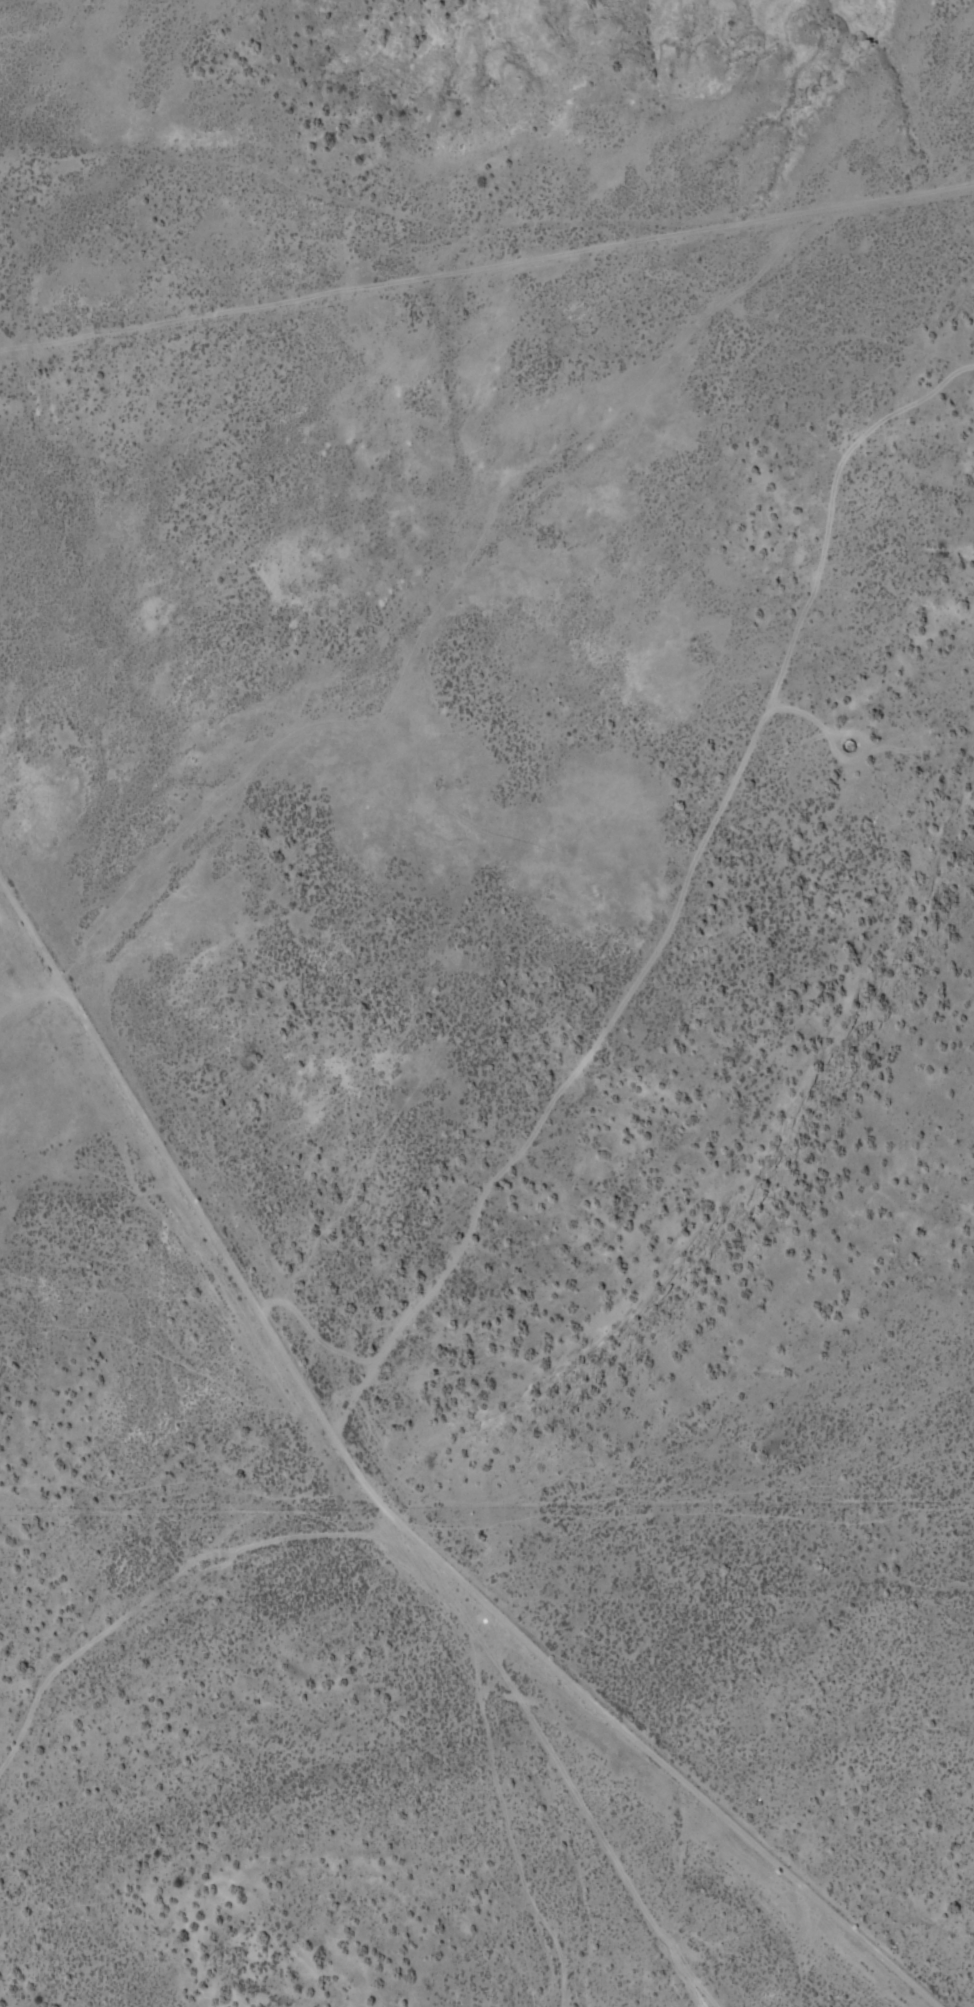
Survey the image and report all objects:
road: (485, 224)
road: (692, 875)
road: (364, 1523)
road: (437, 1842)

